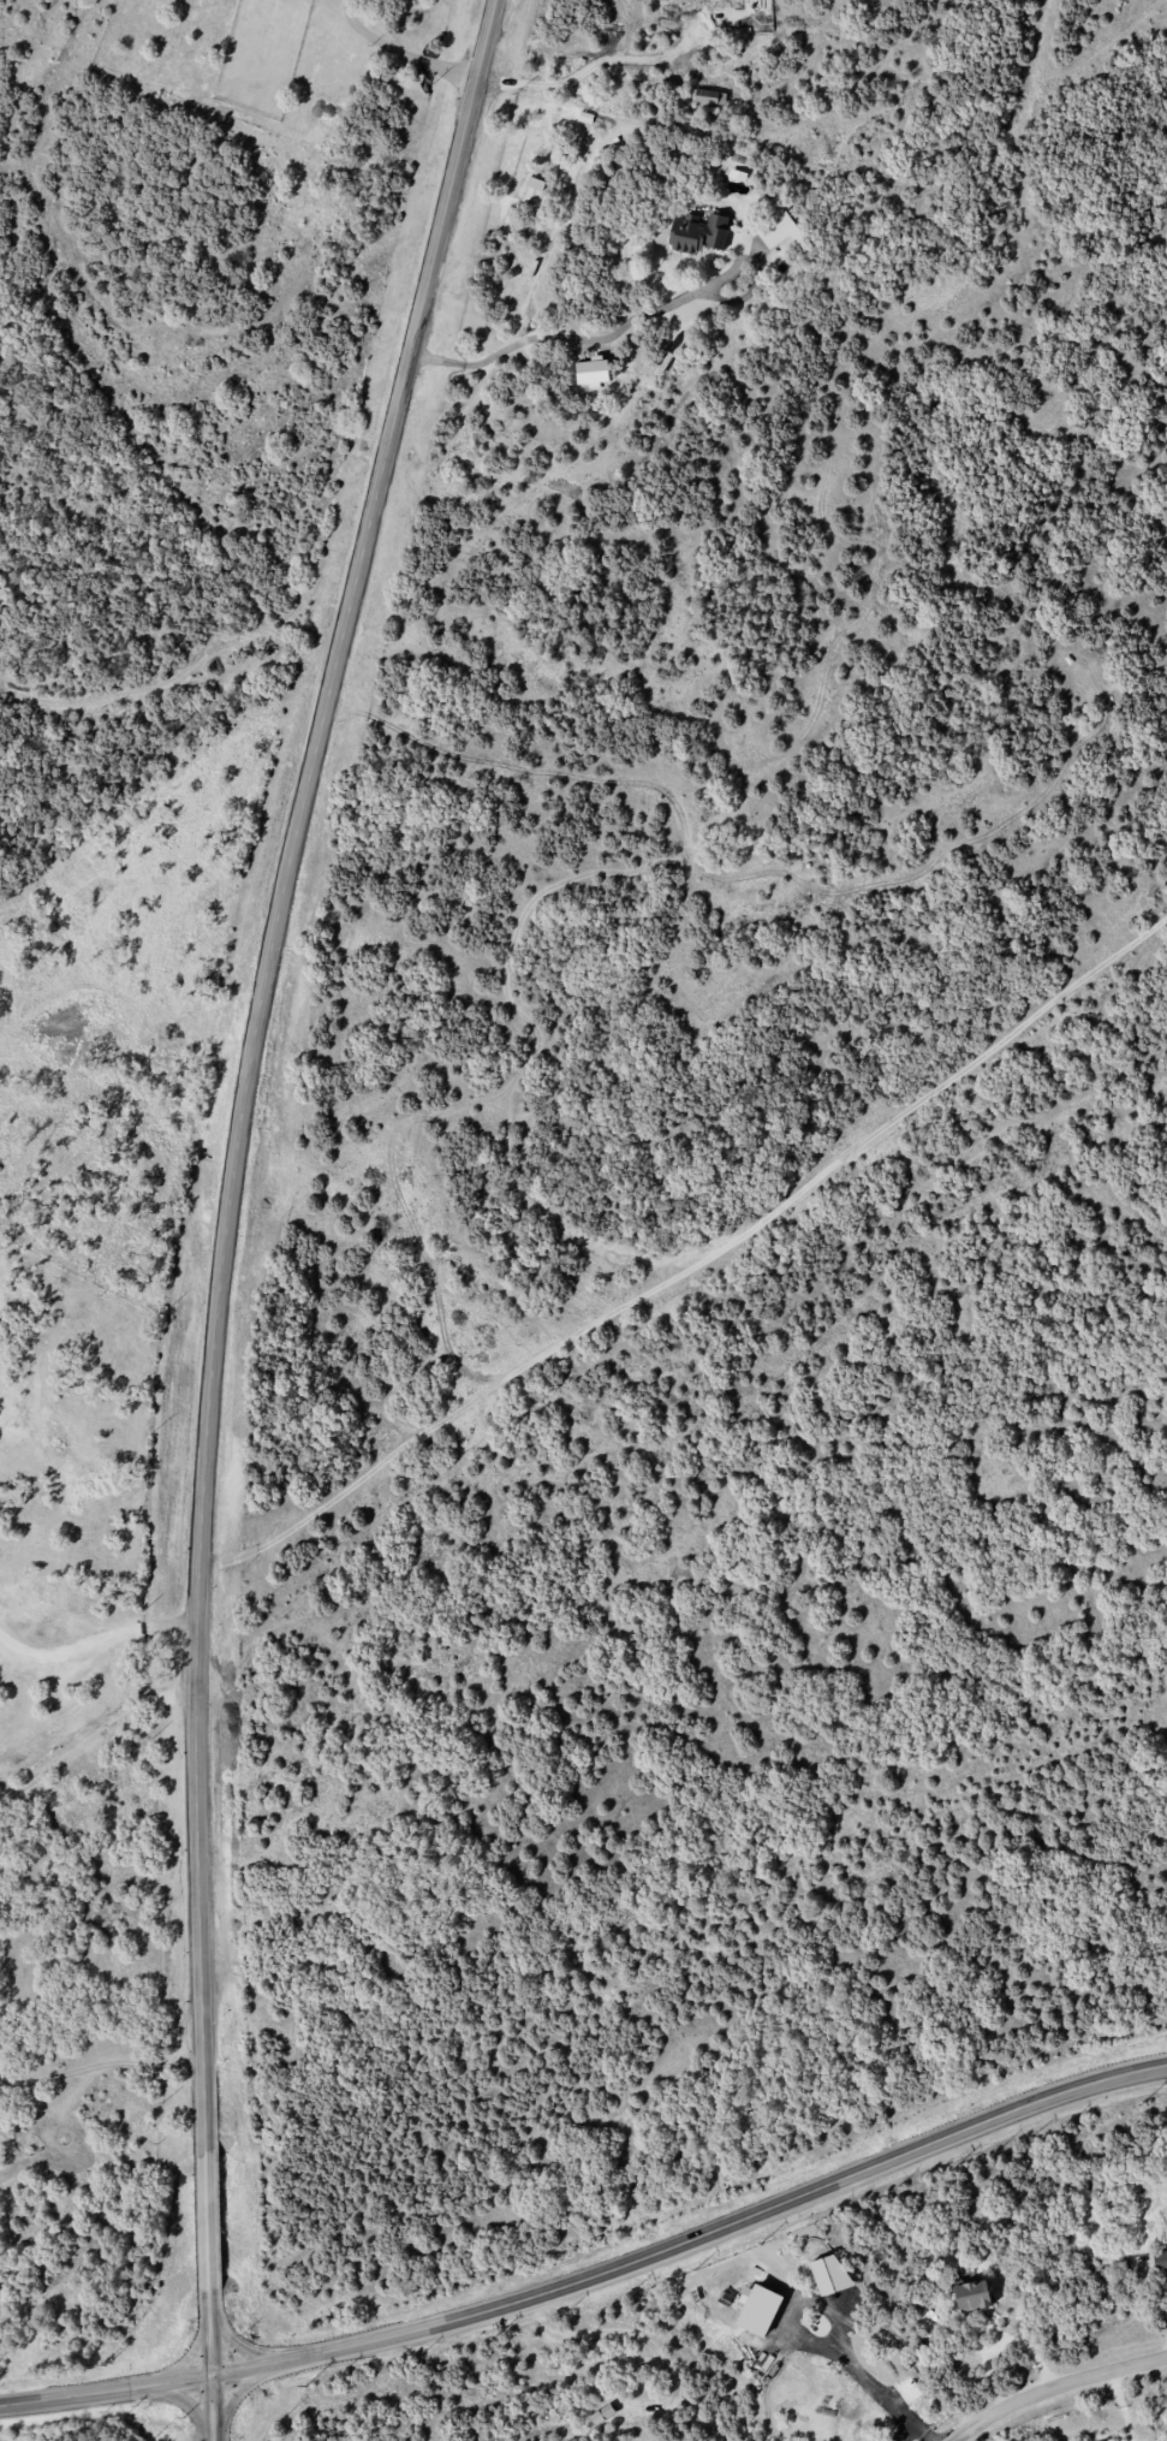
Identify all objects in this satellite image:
road: (399, 51)
road: (590, 64)
building: (709, 96)
building: (780, 230)
building: (697, 232)
road: (553, 339)
building: (662, 363)
road: (234, 1175)
road: (695, 1265)
road: (94, 1645)
road: (90, 1738)
building: (1166, 2233)
road: (695, 2239)
building: (1160, 2259)
building: (829, 2274)
building: (972, 2296)
road: (626, 2332)
road: (242, 2346)
road: (189, 2358)
road: (864, 2377)
road: (1056, 2388)
road: (239, 2390)
road: (106, 2392)
road: (185, 2404)
road: (212, 2409)
building: (602, 2413)
road: (918, 2431)

